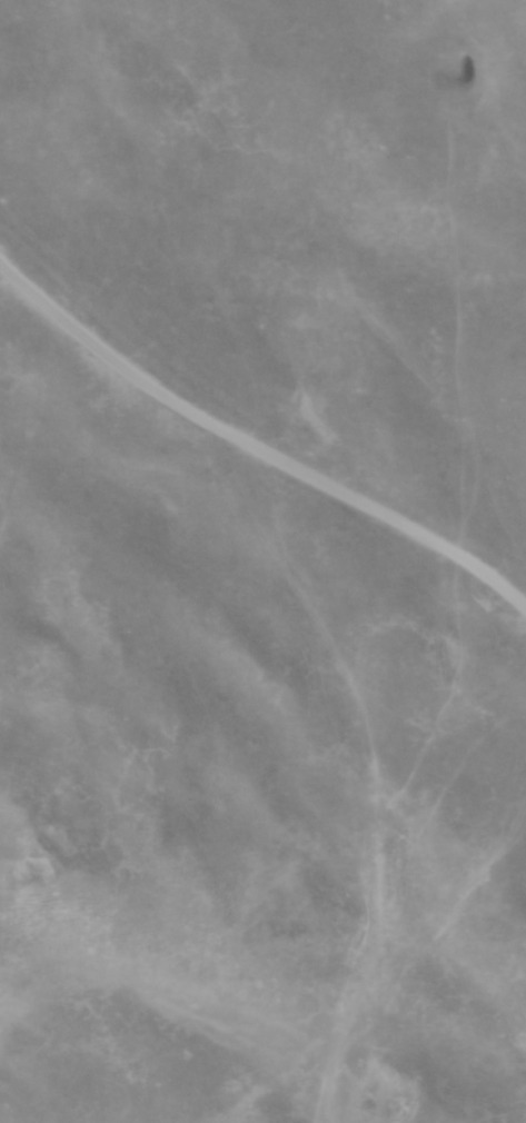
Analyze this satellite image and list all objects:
road: (255, 447)

